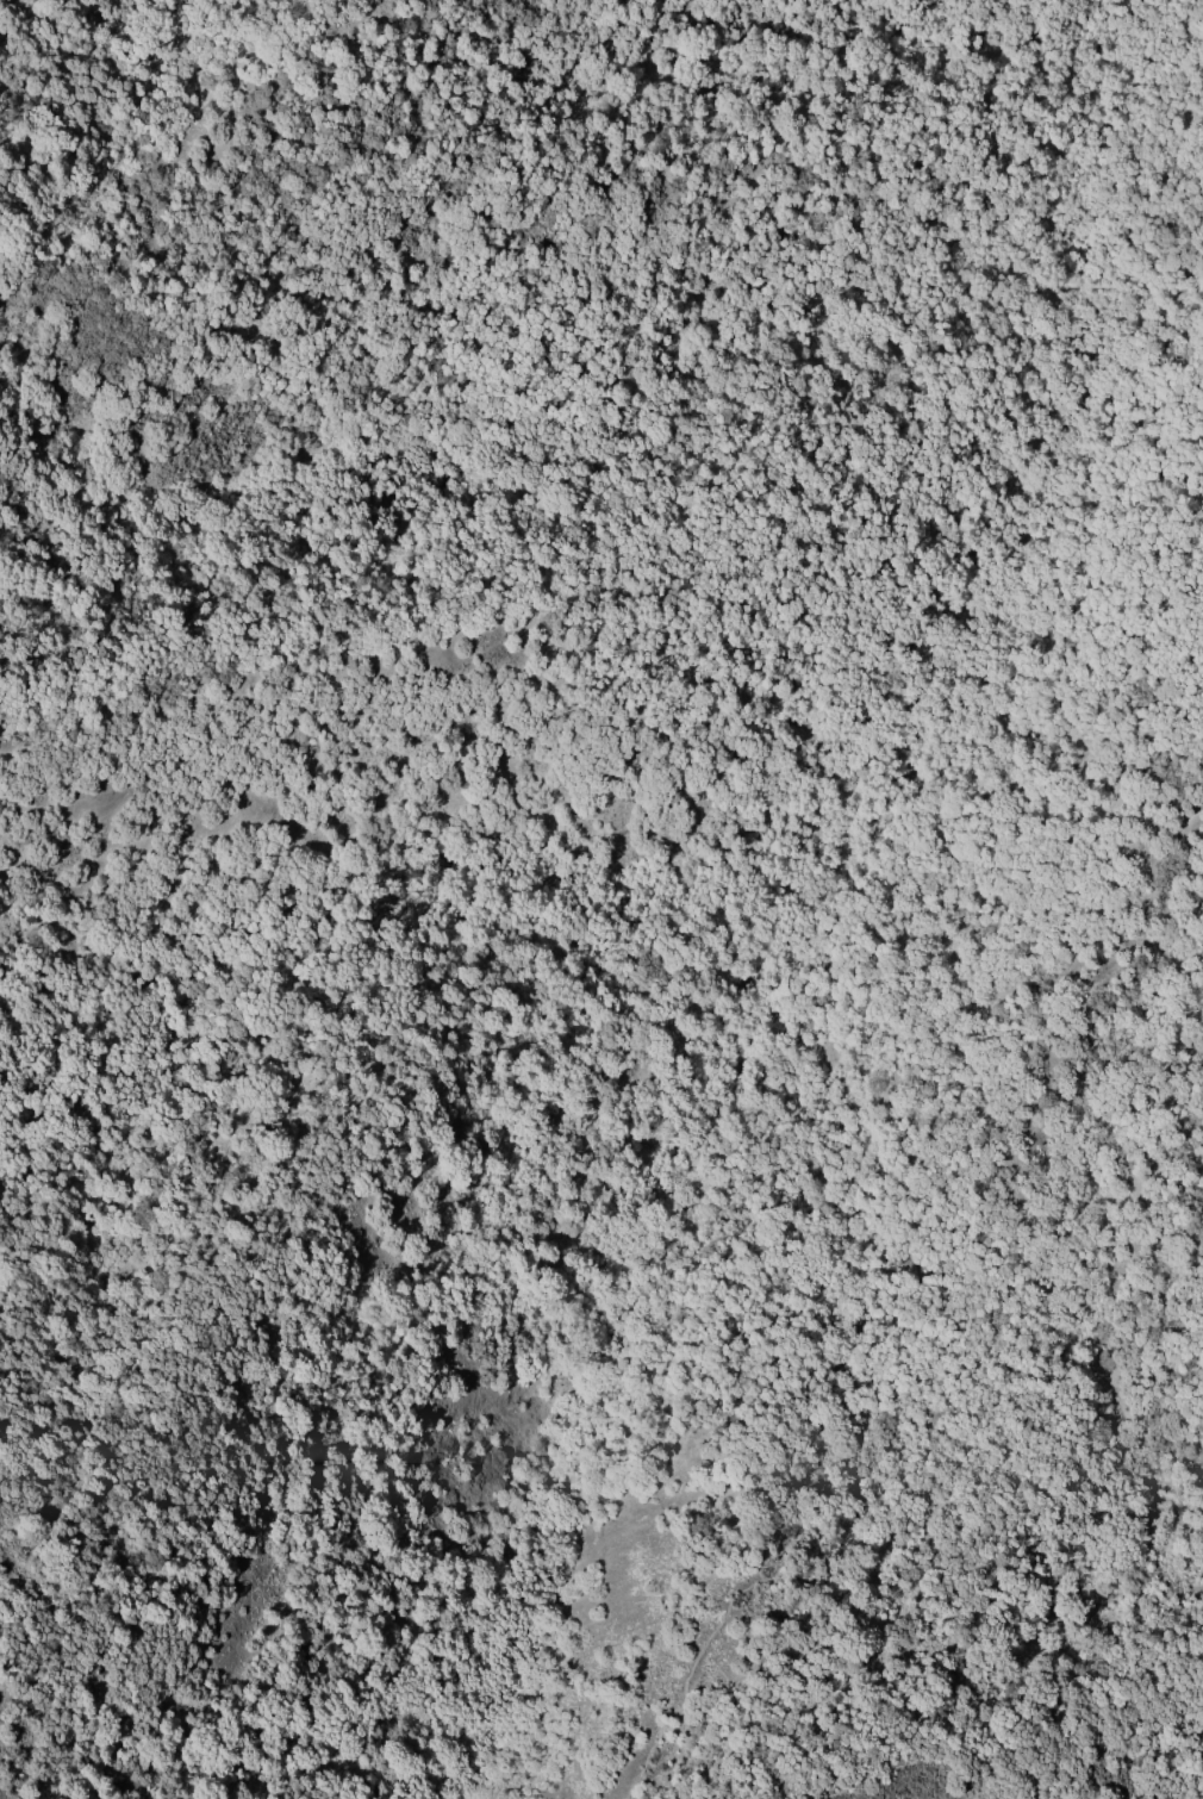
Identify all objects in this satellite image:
road: (931, 722)
road: (1074, 1135)
road: (916, 1544)
road: (1022, 1732)

